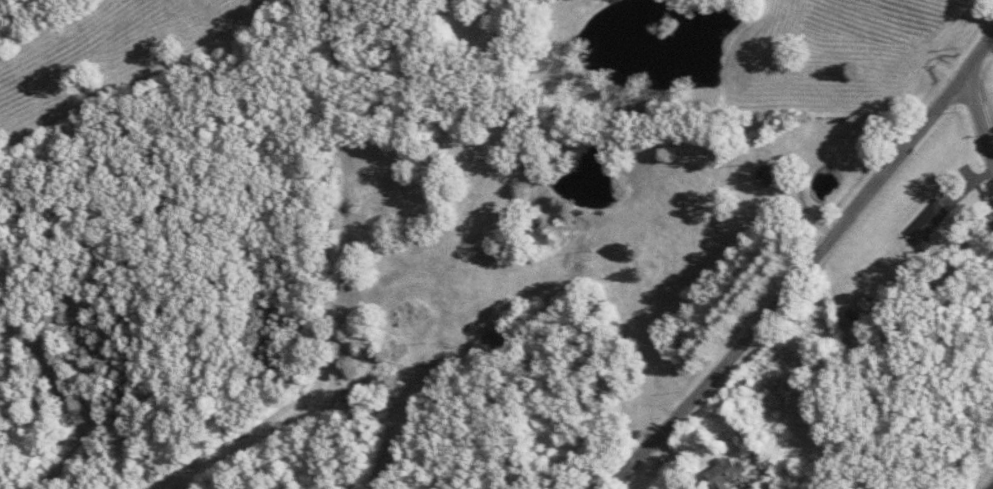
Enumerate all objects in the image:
road: (977, 131)
road: (807, 267)
building: (729, 473)

